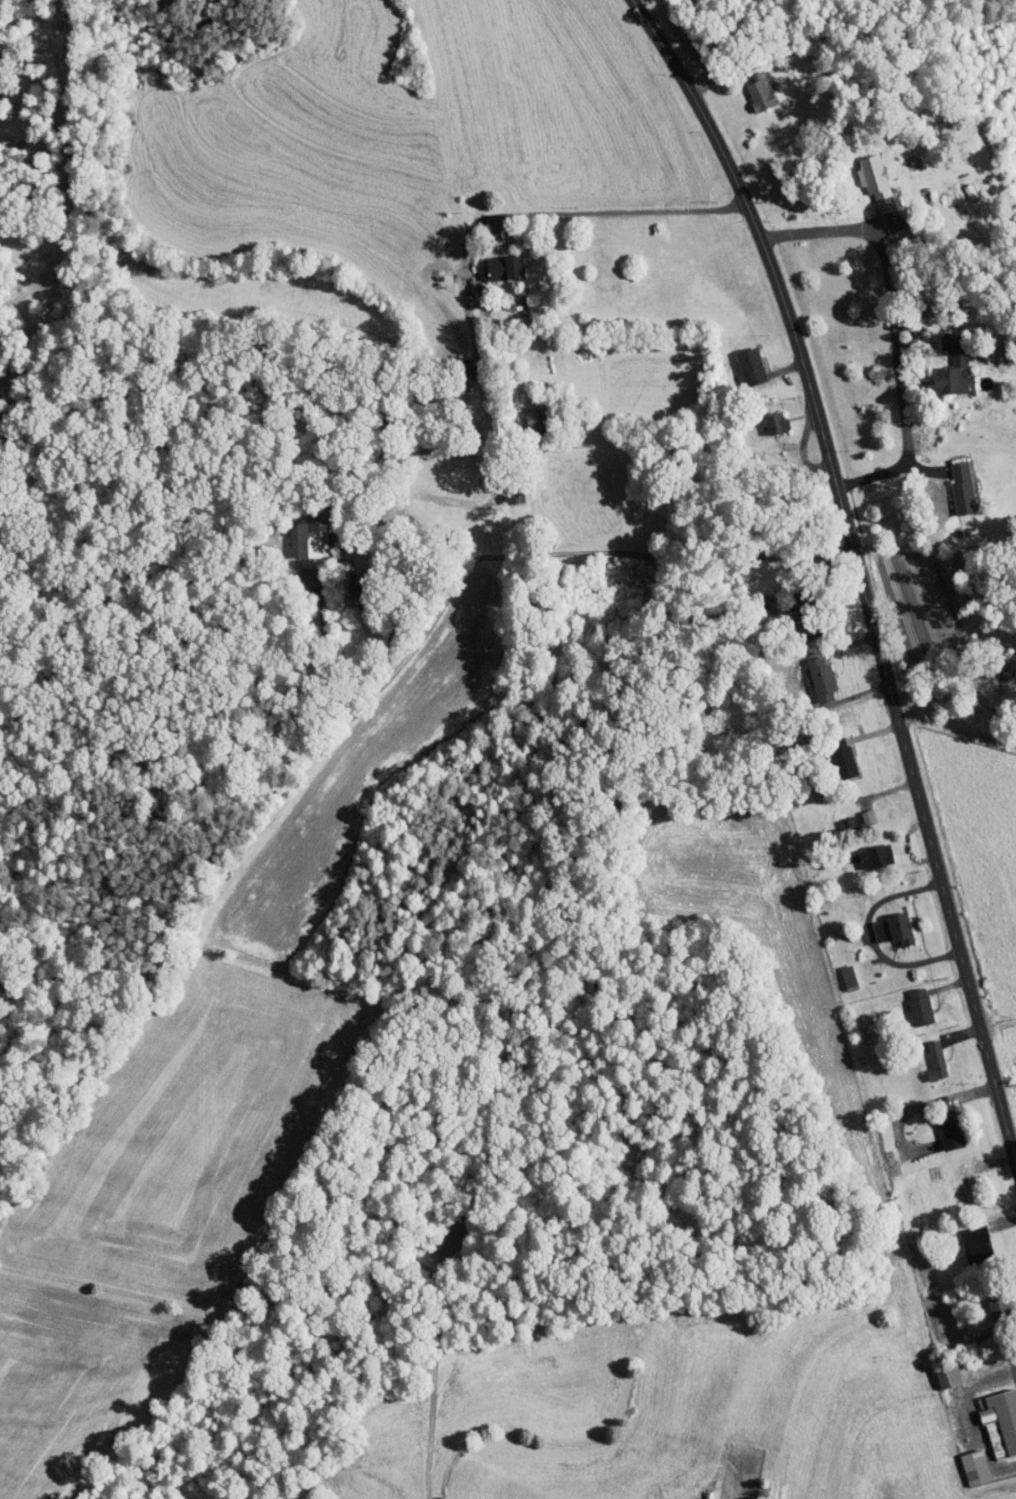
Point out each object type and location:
building: (749, 86)
building: (865, 175)
road: (823, 231)
building: (494, 261)
building: (941, 359)
building: (740, 360)
road: (778, 369)
road: (895, 381)
building: (763, 416)
road: (488, 443)
building: (951, 482)
building: (298, 534)
road: (852, 584)
road: (430, 615)
building: (810, 673)
road: (376, 685)
building: (833, 757)
building: (856, 811)
building: (865, 851)
building: (882, 924)
building: (838, 972)
building: (909, 999)
building: (925, 1054)
building: (939, 1127)
building: (965, 1238)
building: (987, 1296)
building: (938, 1370)
building: (994, 1417)
building: (964, 1461)

